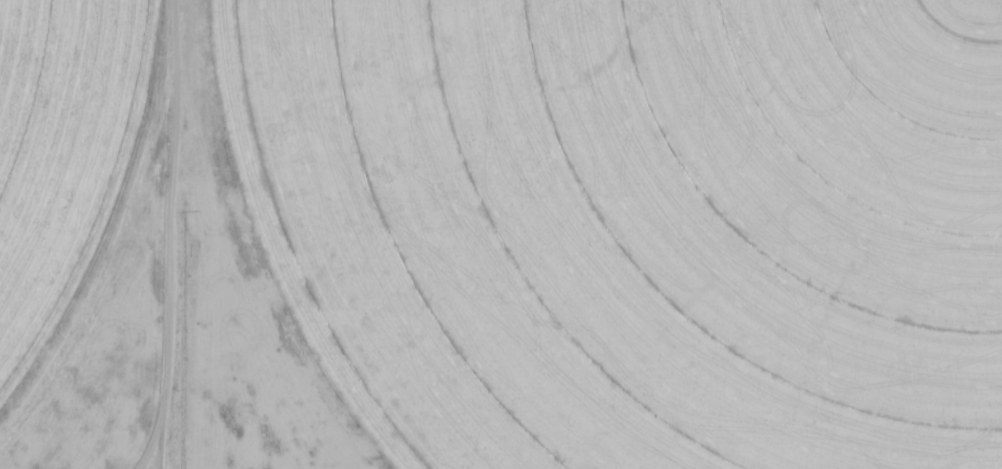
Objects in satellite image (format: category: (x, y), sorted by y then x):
crop: (63, 164)
crop: (638, 225)
road: (162, 234)
road: (143, 450)

